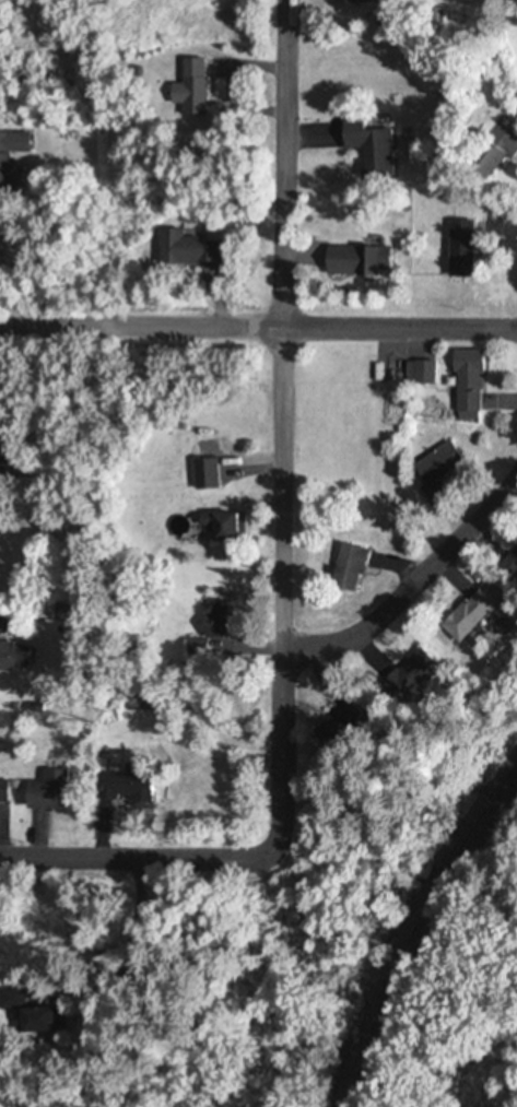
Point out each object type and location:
building: (354, 1)
building: (189, 90)
building: (11, 144)
building: (365, 150)
building: (487, 153)
building: (184, 250)
building: (456, 250)
building: (354, 261)
road: (258, 319)
building: (415, 374)
building: (462, 387)
road: (281, 423)
building: (0, 438)
building: (433, 473)
building: (204, 480)
building: (223, 529)
building: (507, 566)
building: (344, 569)
road: (414, 575)
building: (463, 616)
building: (211, 626)
building: (8, 658)
building: (406, 676)
building: (329, 729)
building: (120, 787)
building: (1, 793)
building: (43, 793)
road: (141, 861)
railway: (421, 930)
building: (37, 1017)

